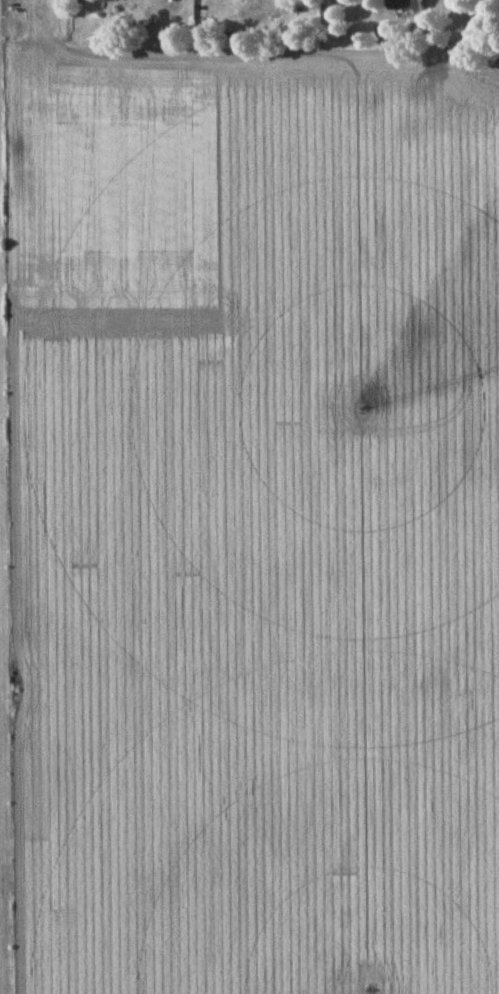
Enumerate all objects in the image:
building: (407, 4)

